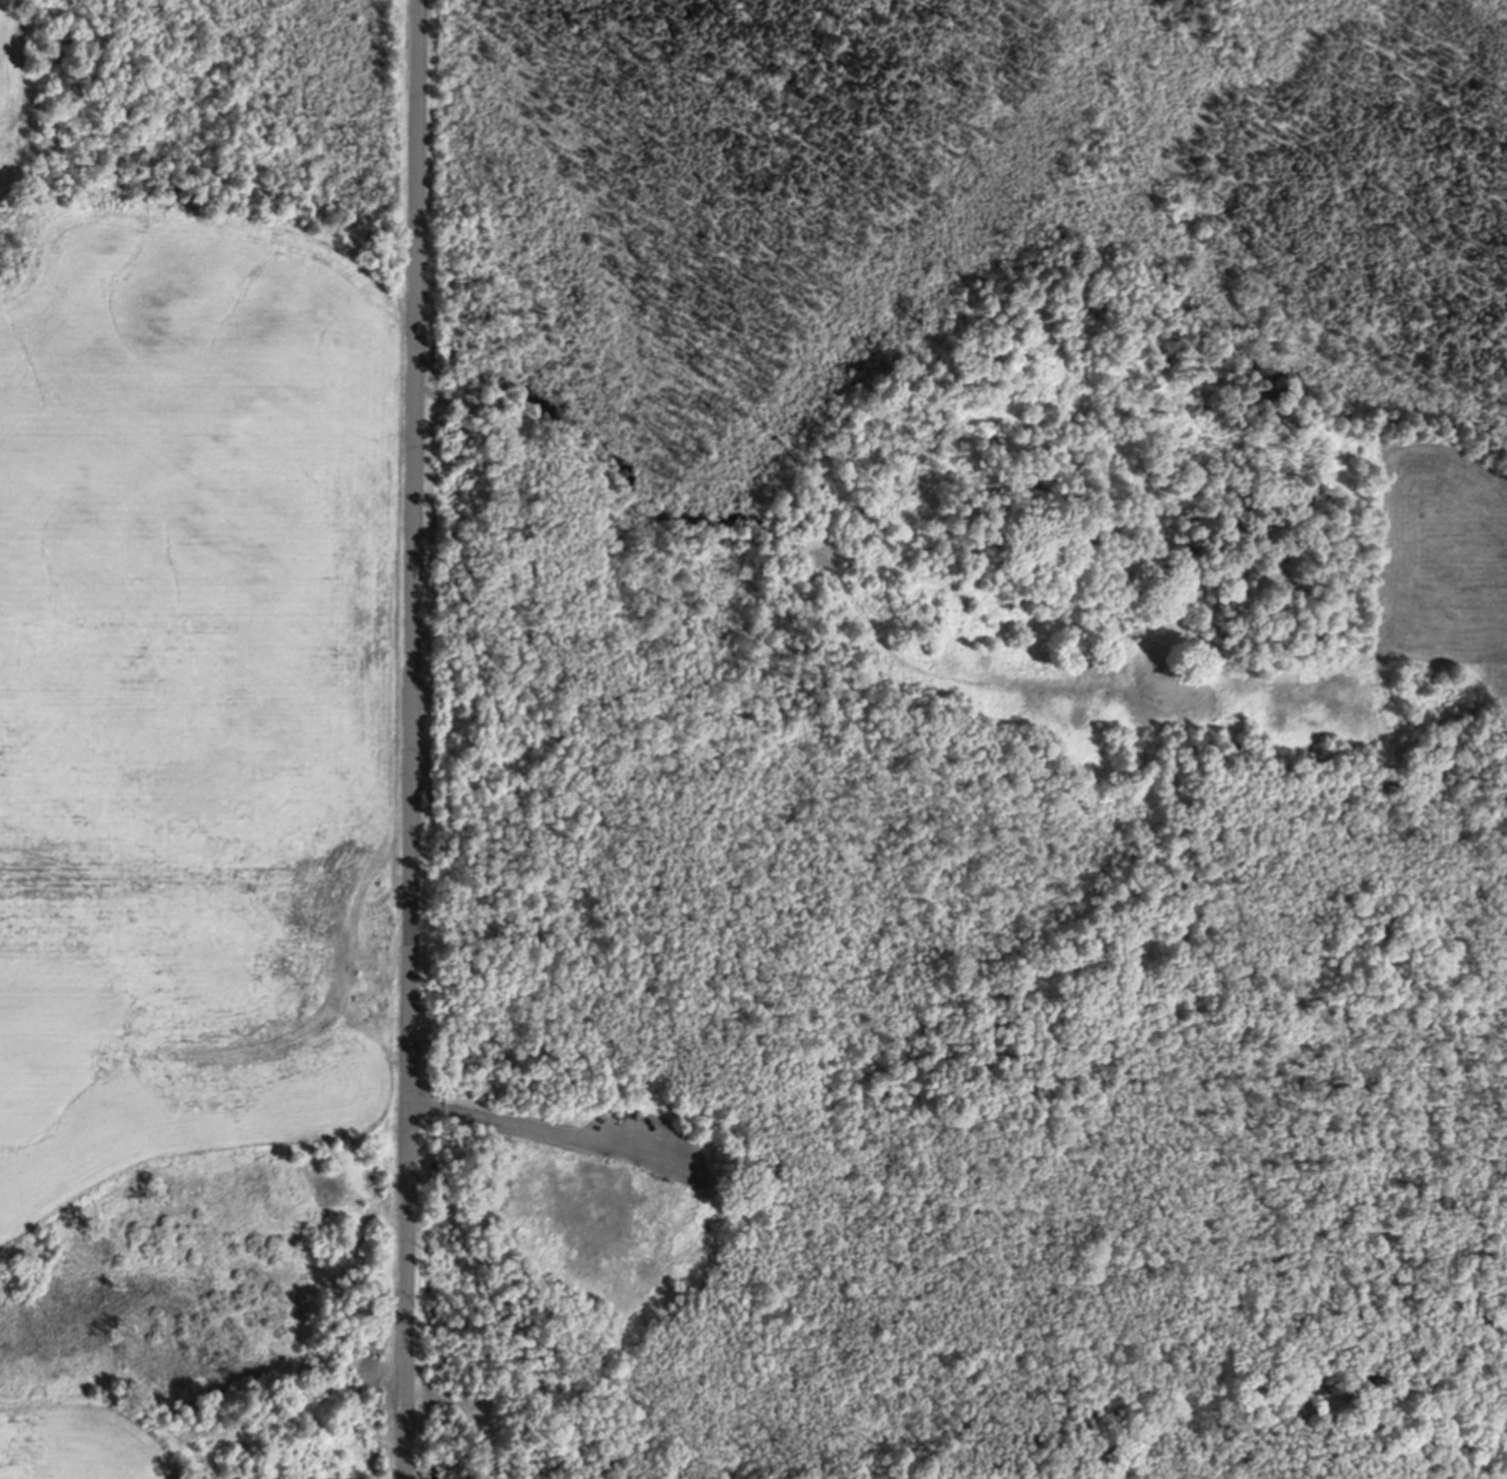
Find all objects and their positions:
road: (413, 739)
building: (622, 1112)
building: (637, 1113)
road: (547, 1131)

